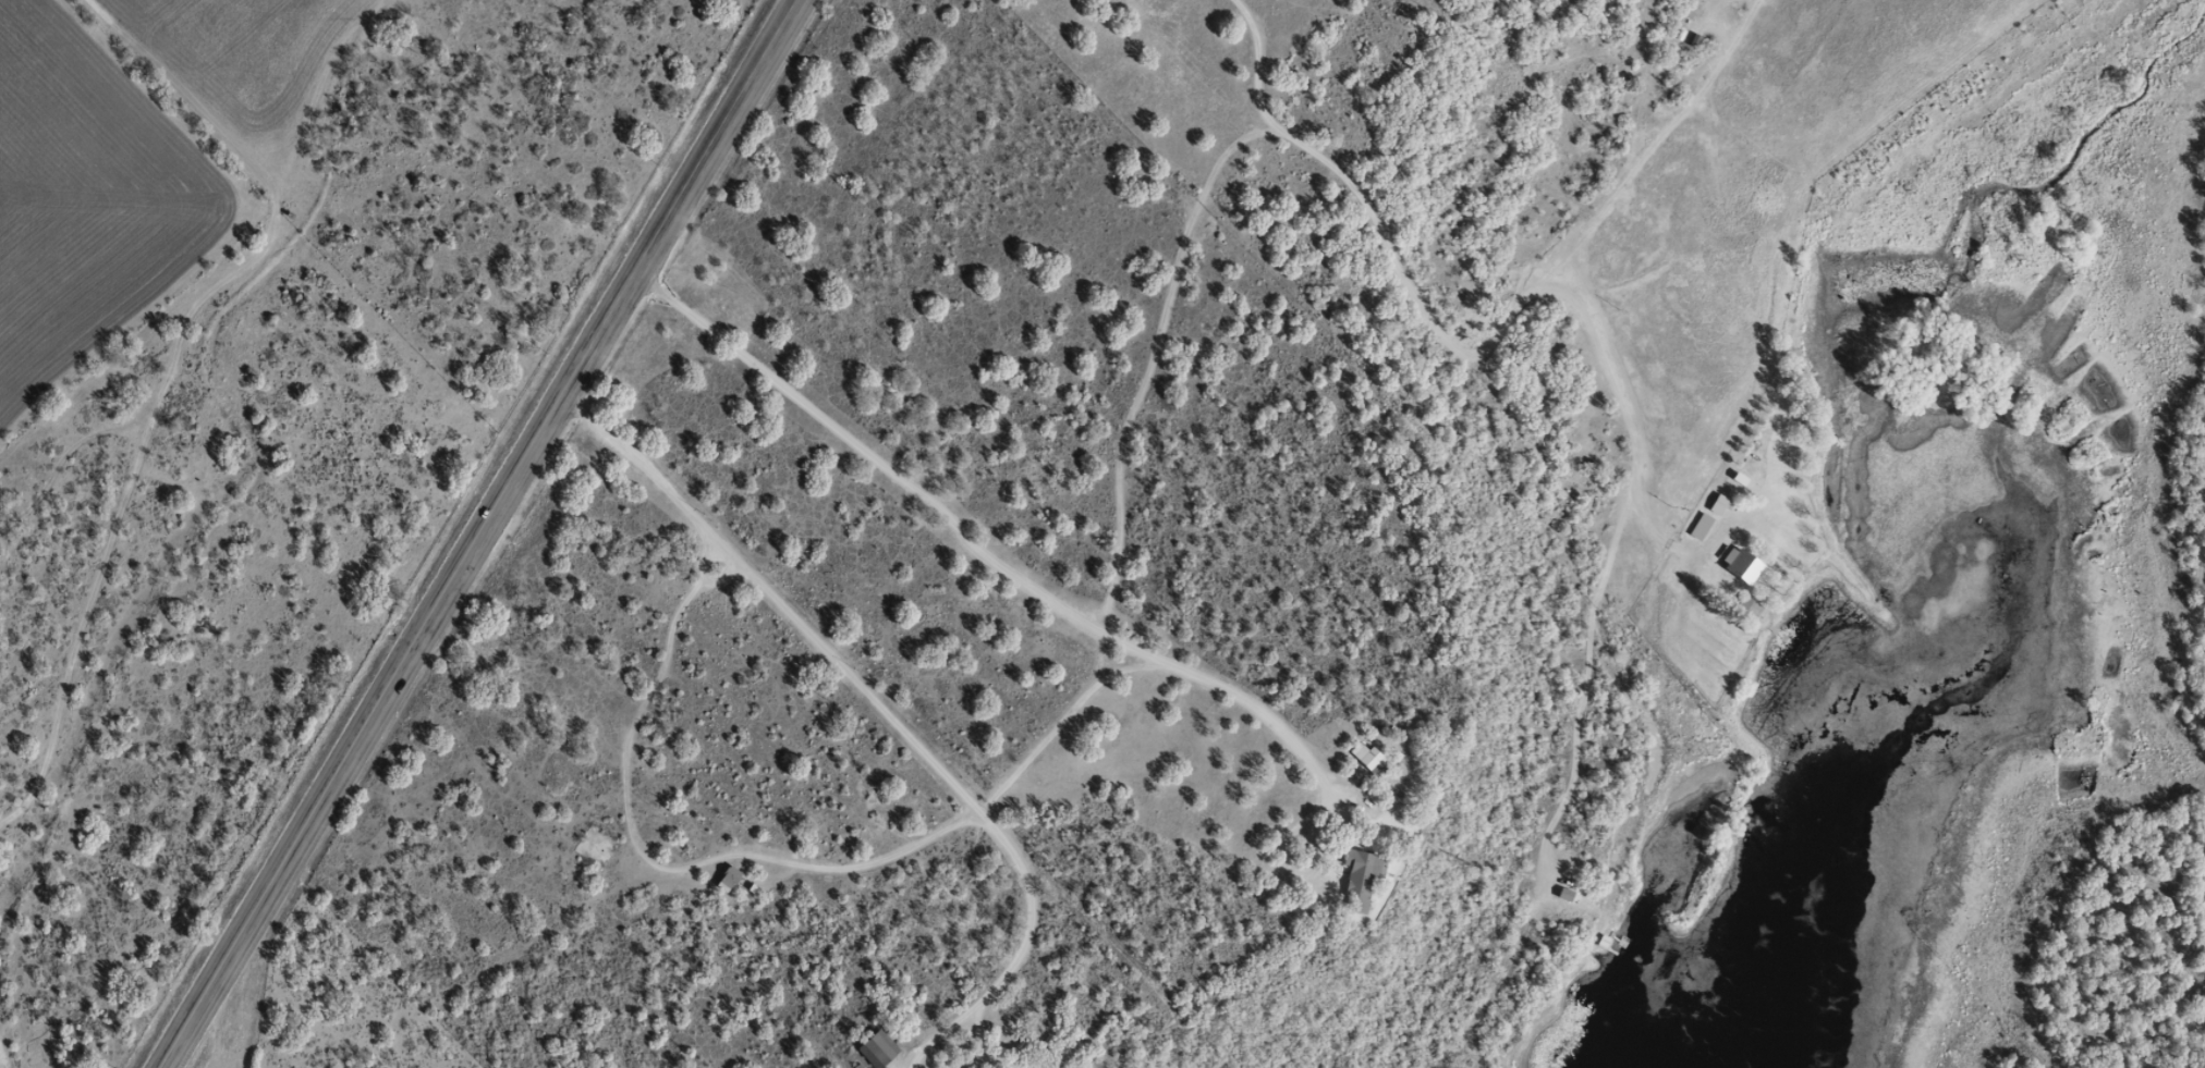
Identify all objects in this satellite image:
crop: (244, 64)
crop: (86, 199)
road: (1470, 358)
building: (1717, 504)
building: (1698, 526)
road: (487, 533)
building: (1743, 565)
building: (1750, 606)
road: (1575, 667)
building: (1370, 757)
building: (1362, 876)
building: (727, 879)
building: (1567, 894)
building: (877, 1049)

